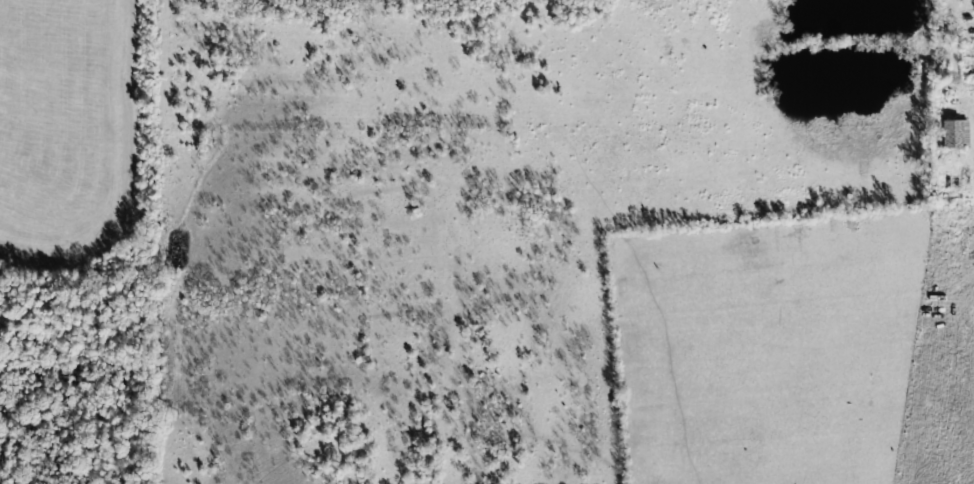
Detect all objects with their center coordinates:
road: (953, 33)
building: (949, 131)

